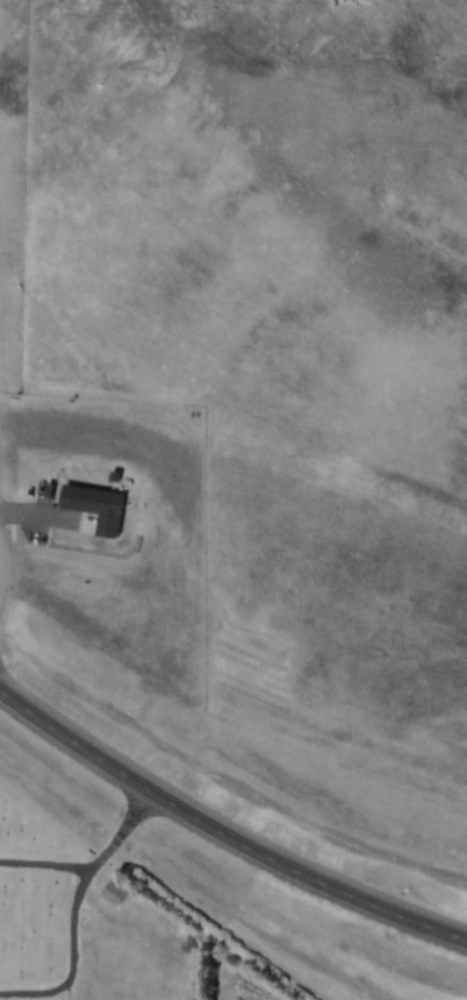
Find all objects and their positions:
road: (298, 101)
building: (102, 478)
building: (84, 509)
road: (5, 557)
road: (188, 812)
road: (124, 828)
road: (48, 865)
building: (113, 890)
building: (104, 894)
park: (86, 924)
road: (430, 926)
road: (79, 962)

